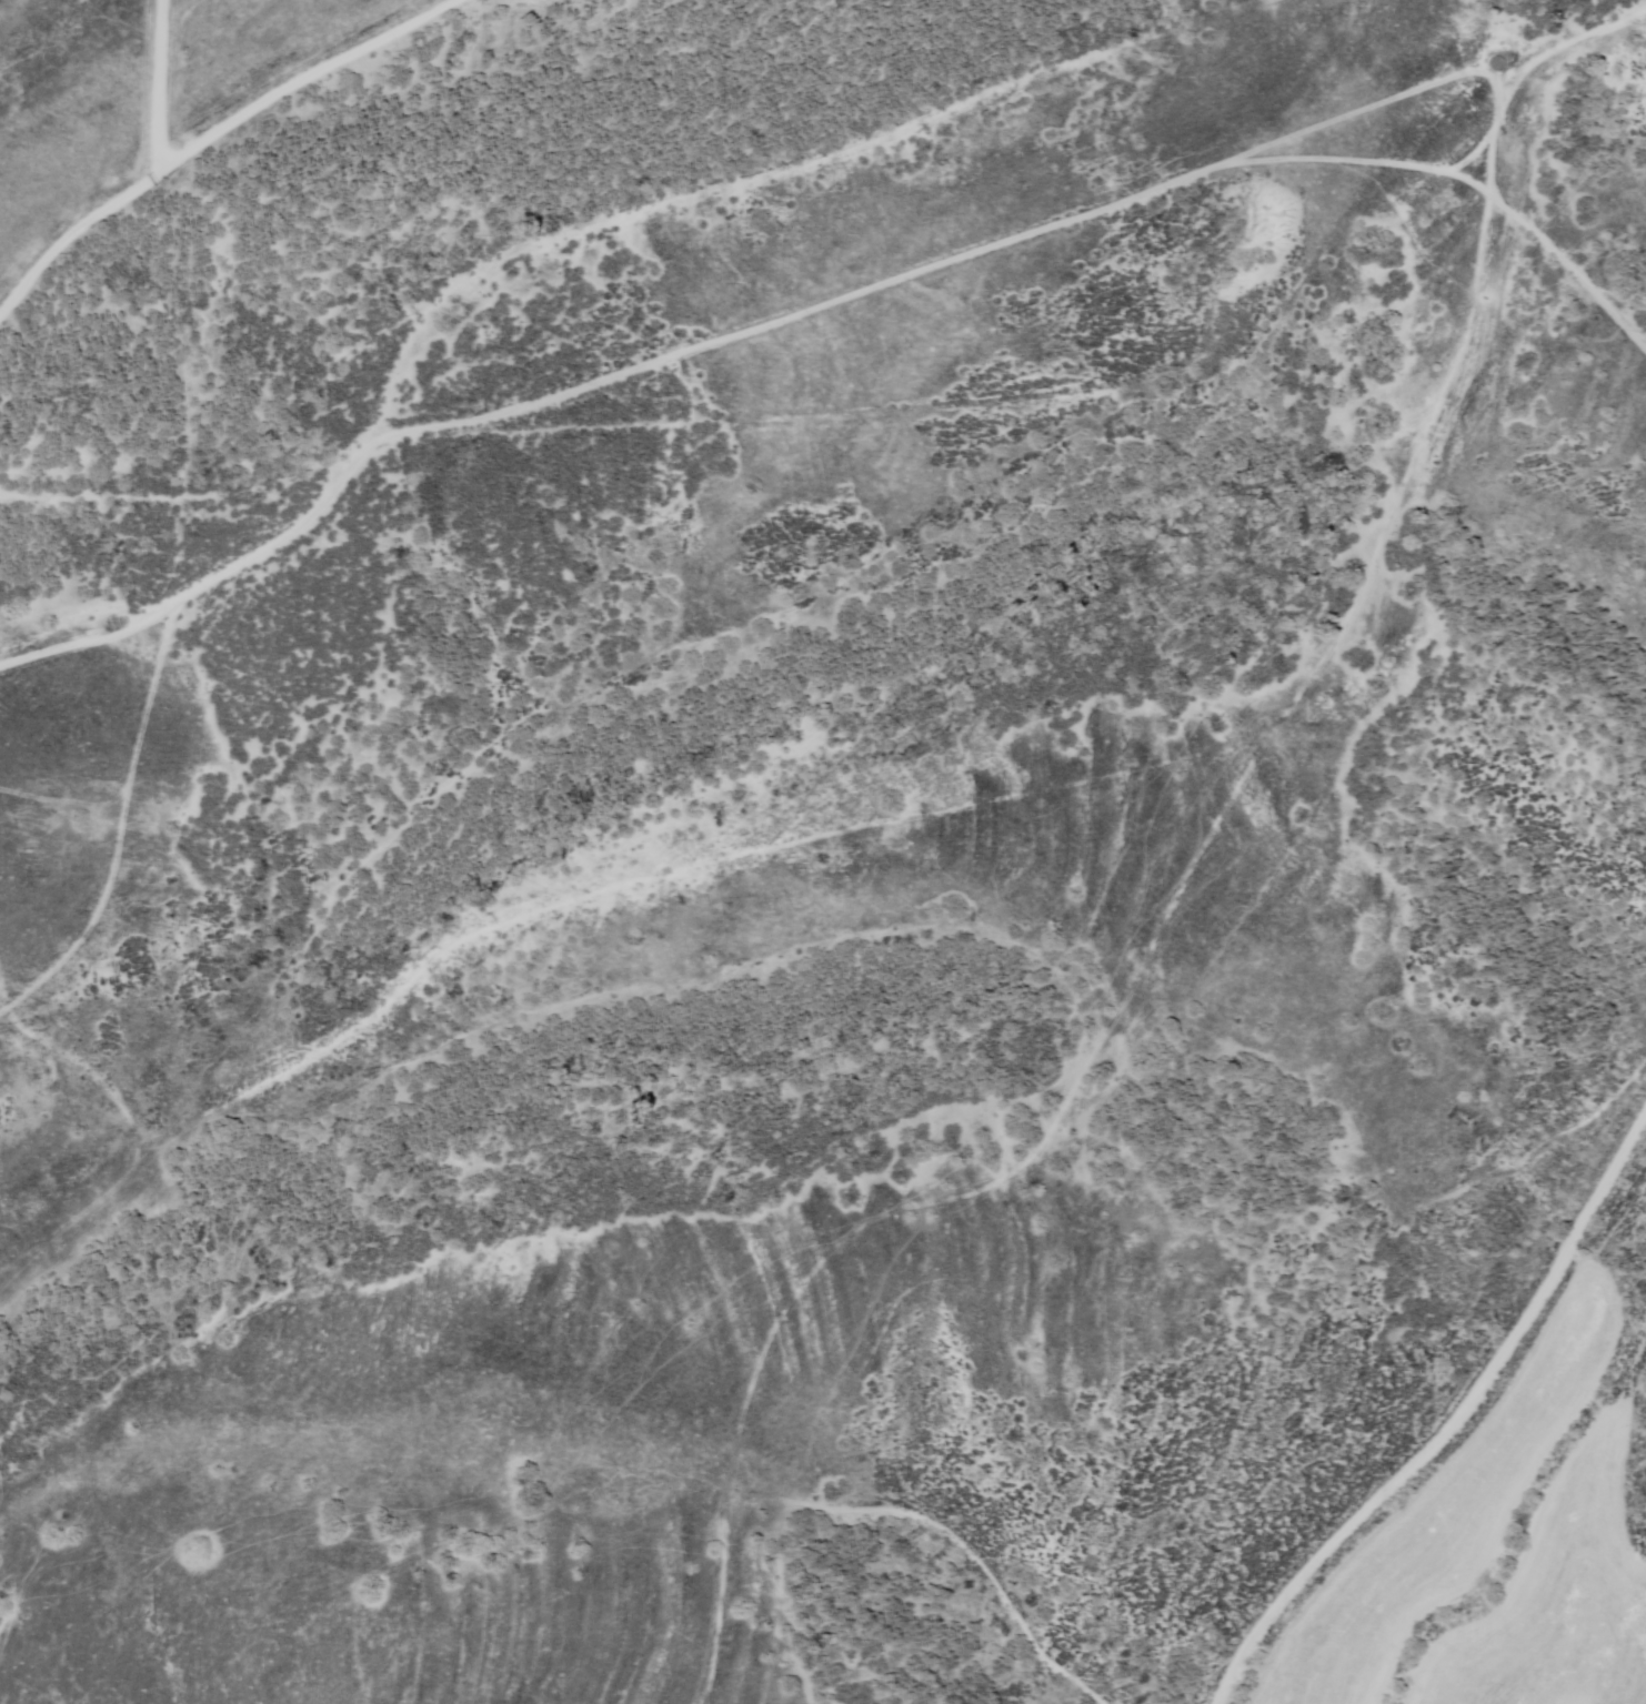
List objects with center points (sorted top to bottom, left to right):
road: (158, 87)
road: (215, 133)
road: (1540, 236)
road: (827, 284)
road: (1446, 1424)

